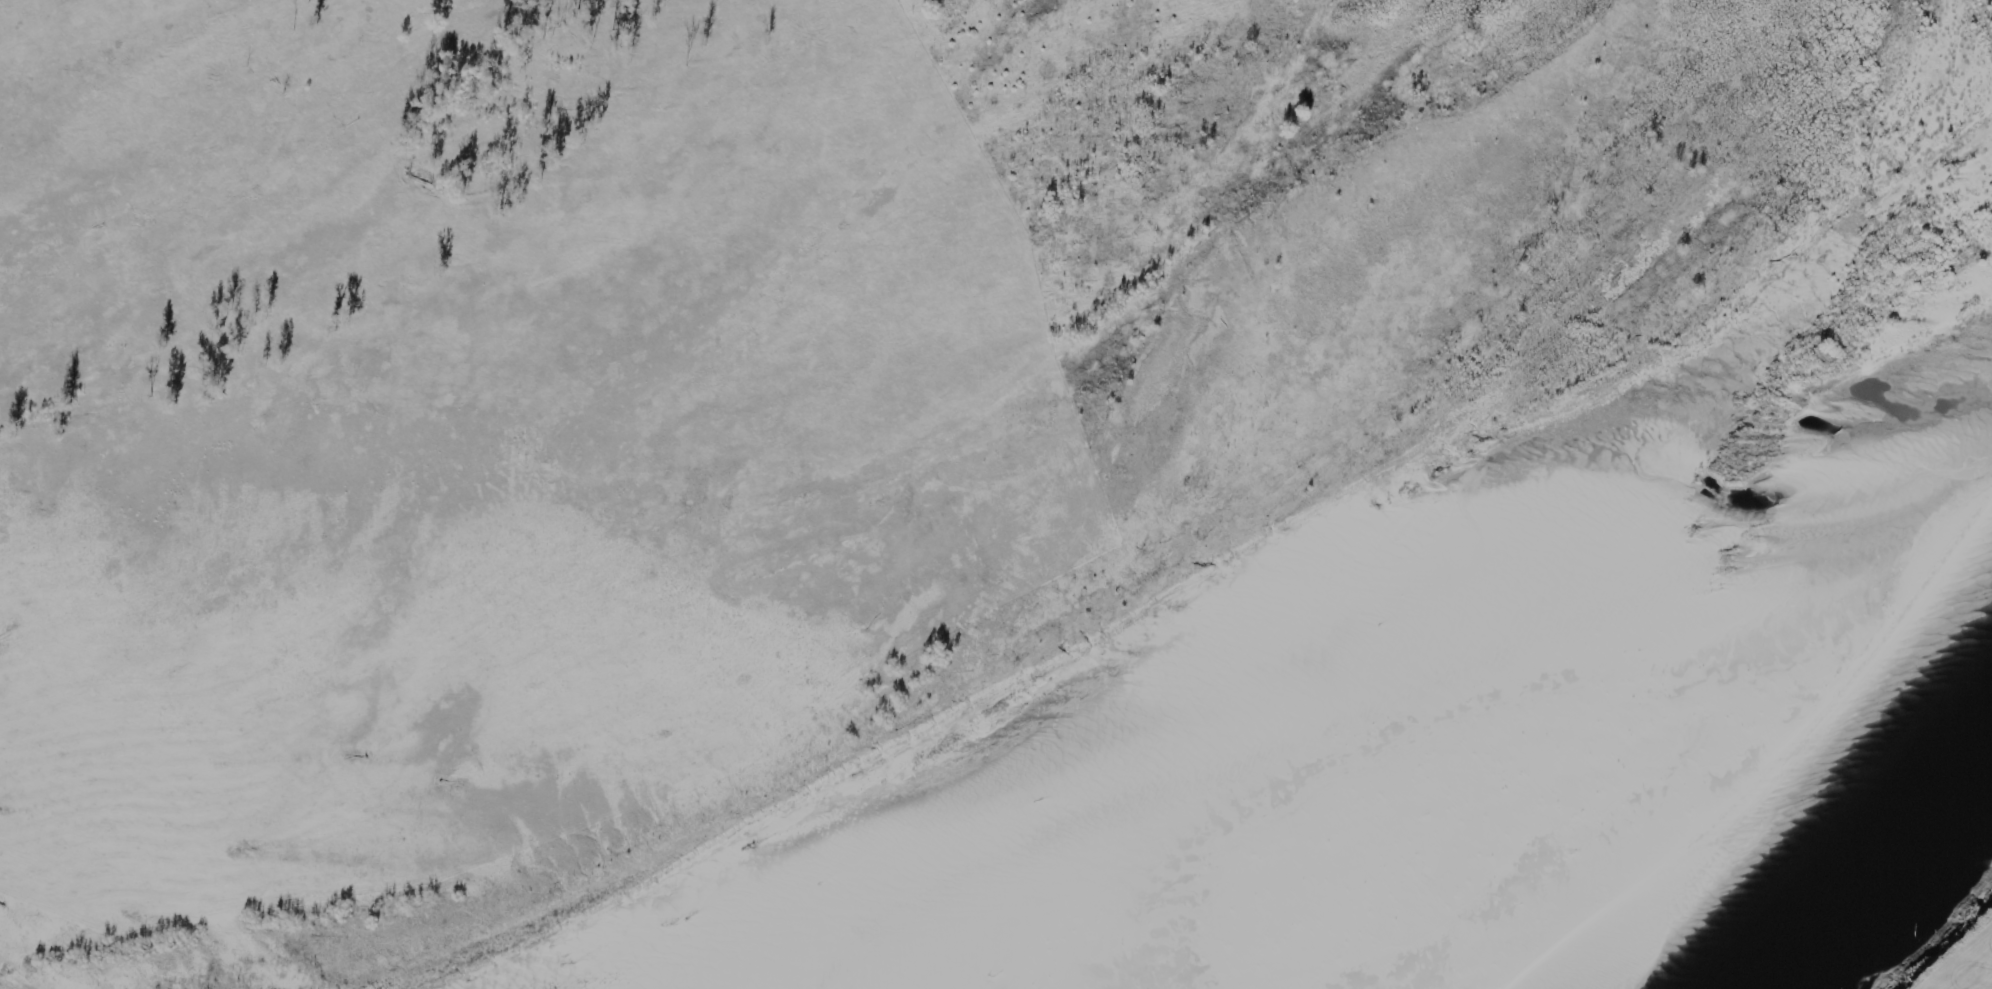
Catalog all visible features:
river: (1239, 602)

